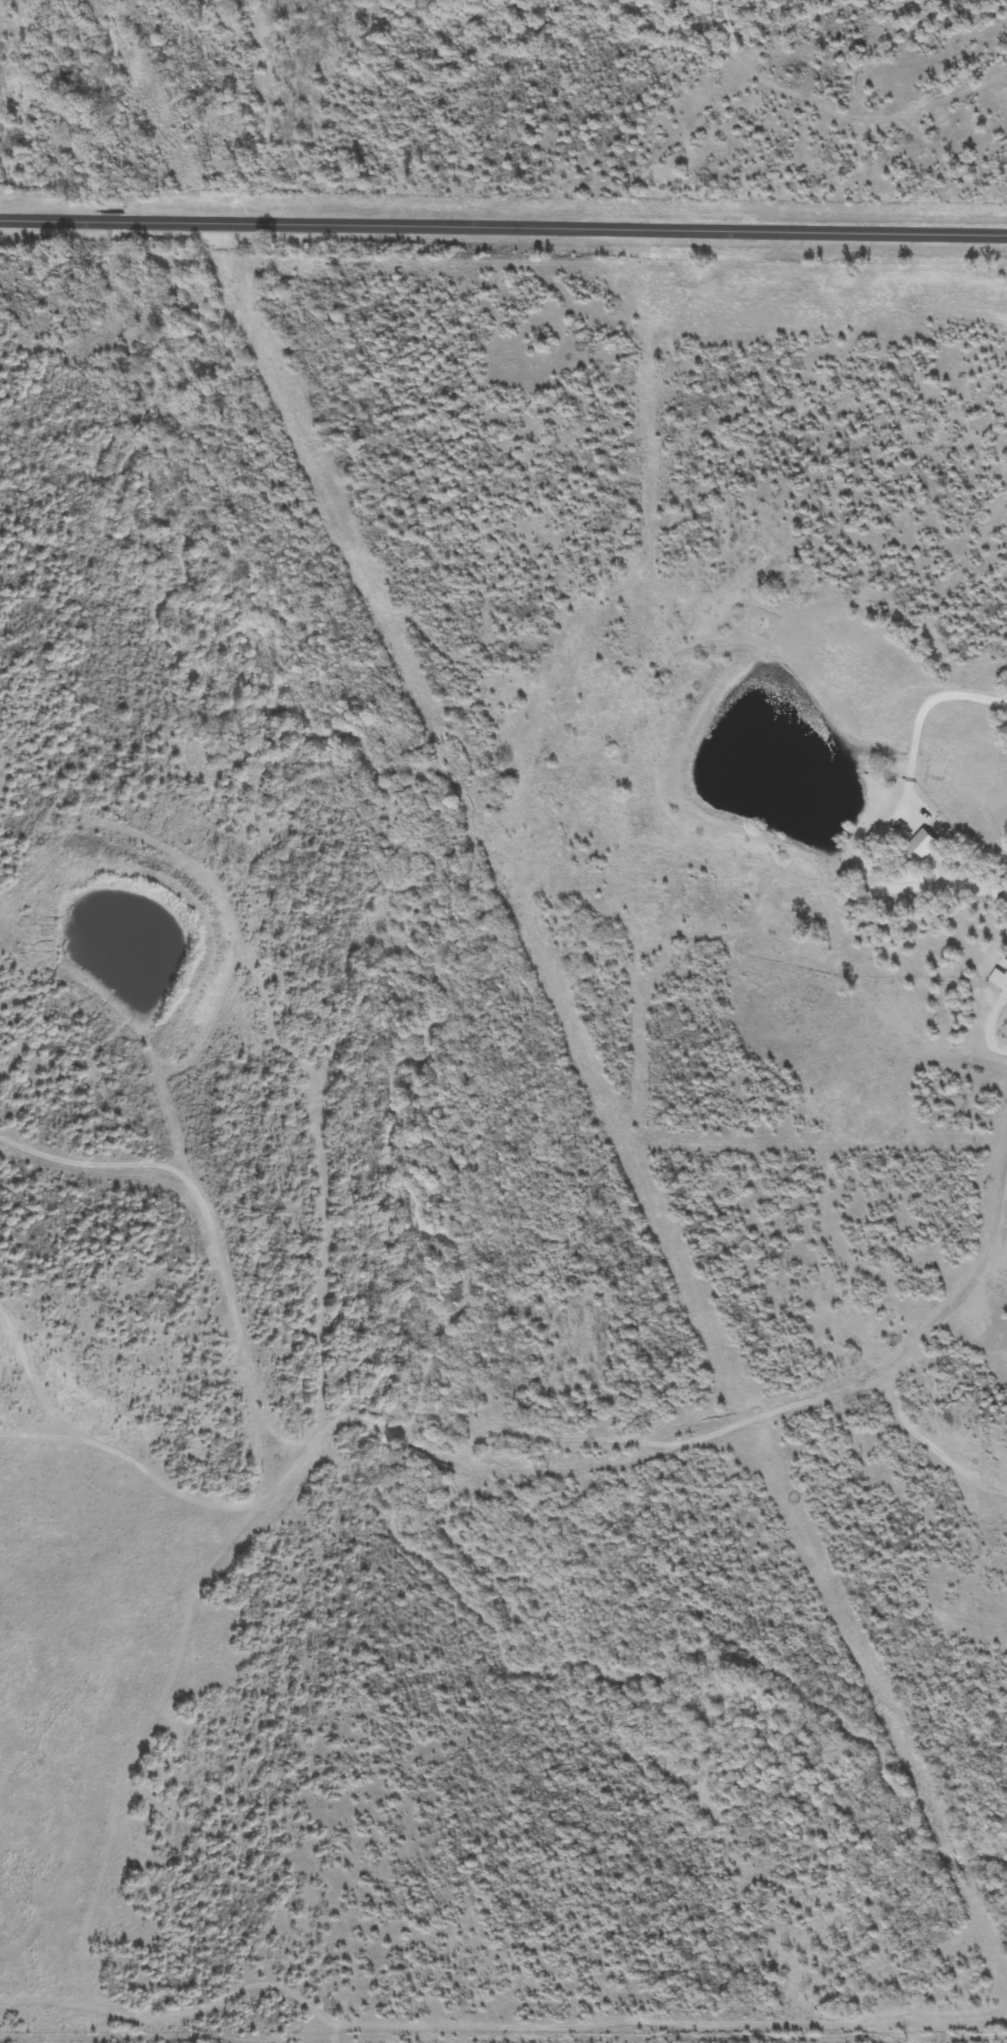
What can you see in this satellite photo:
road: (503, 229)
building: (915, 849)
building: (999, 974)

